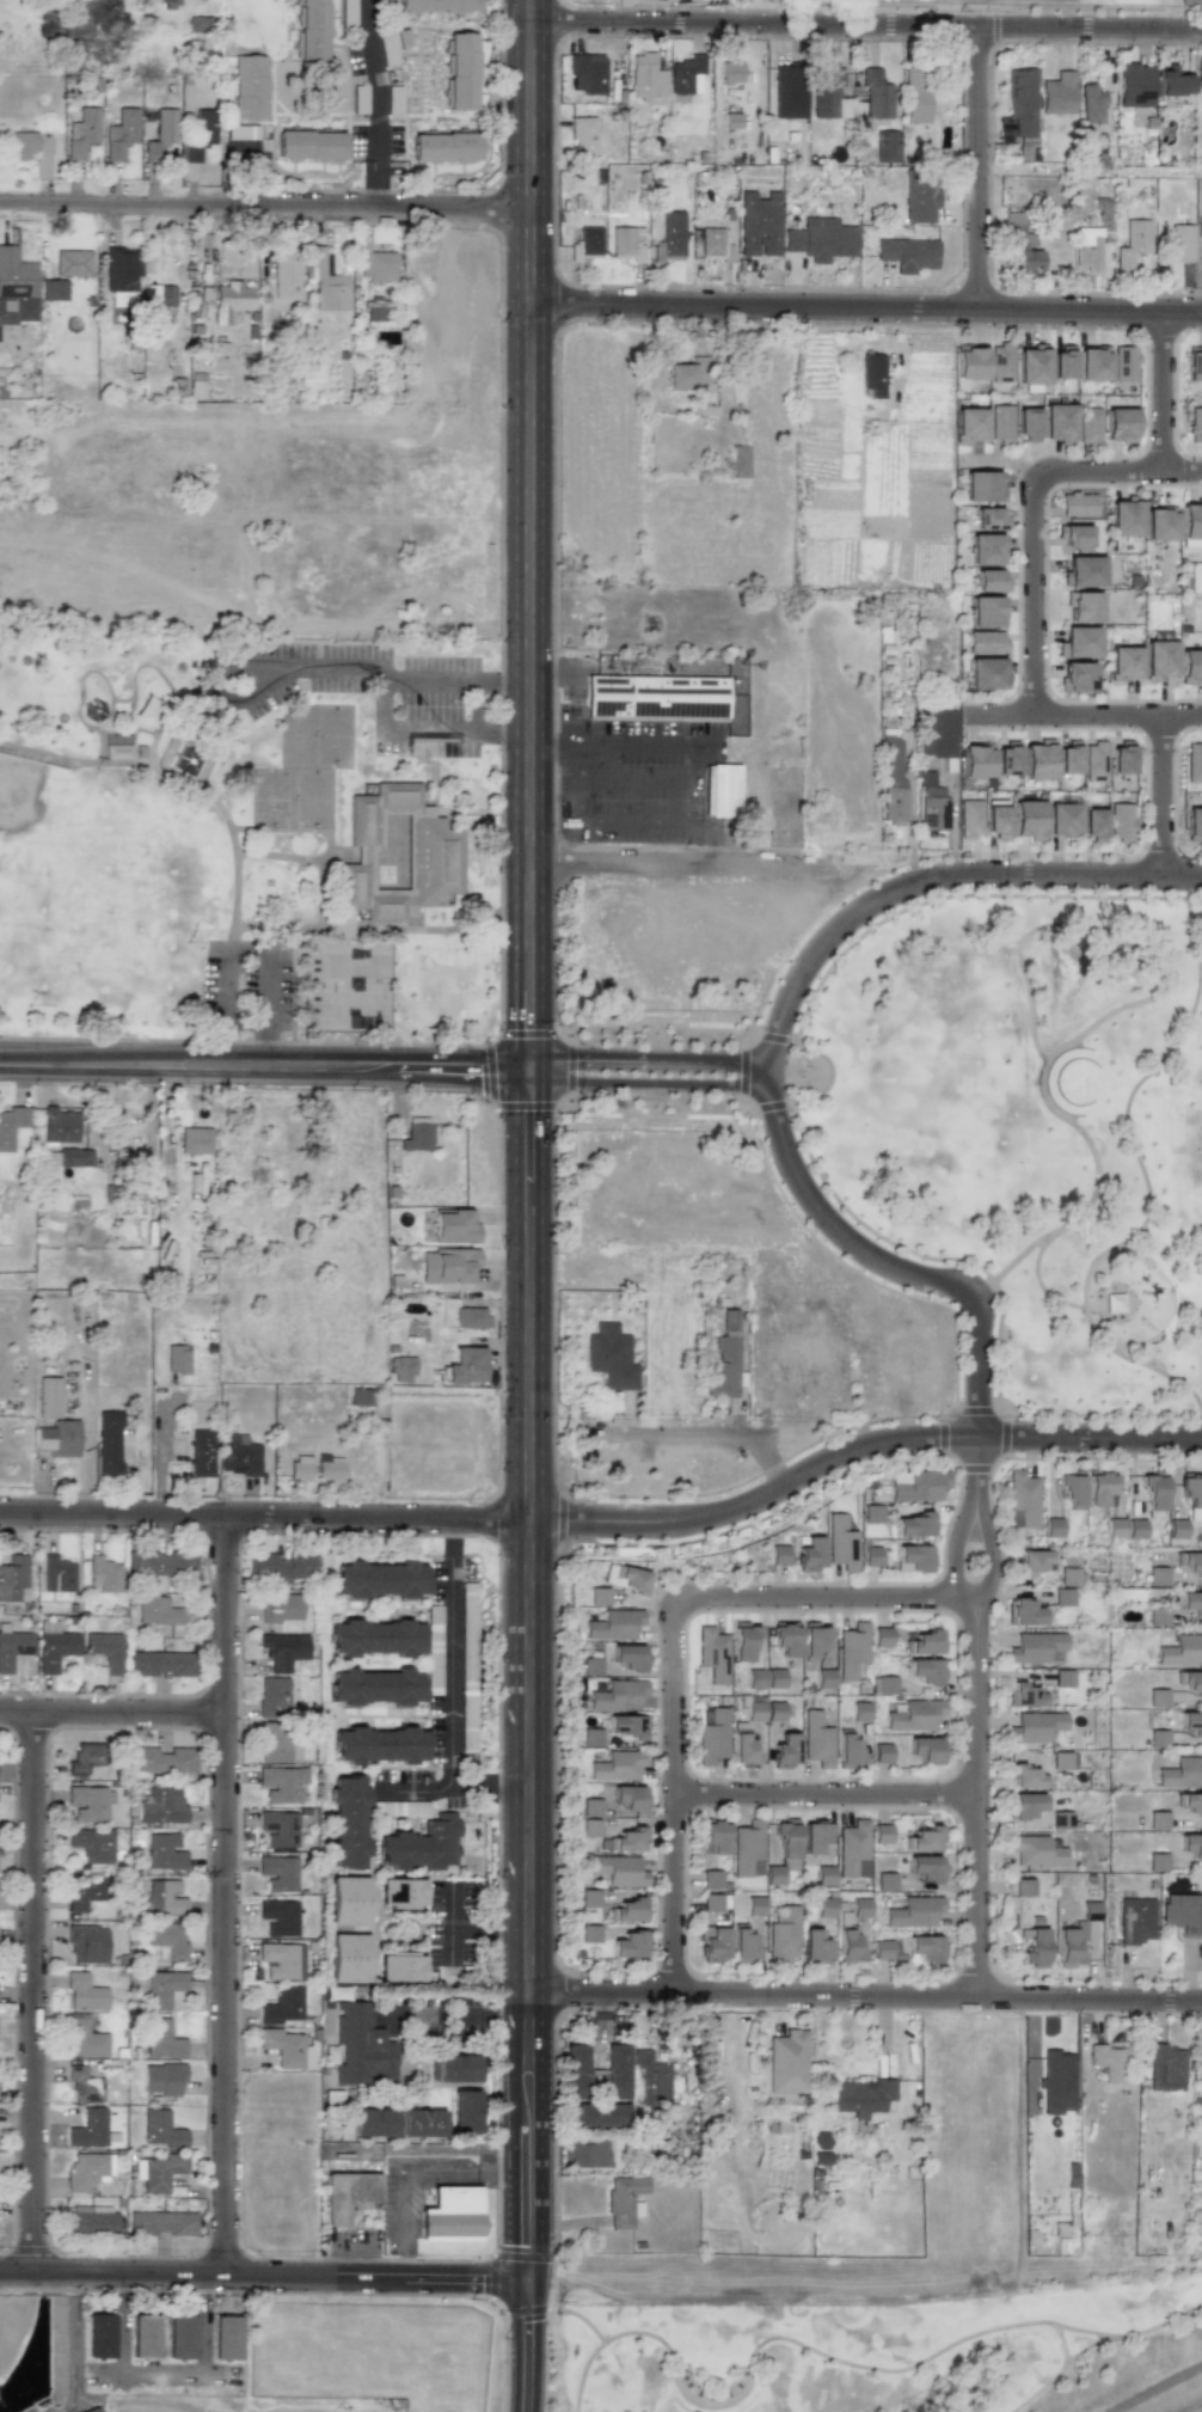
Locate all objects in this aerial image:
building: (166, 2)
building: (1190, 2)
building: (436, 5)
road: (863, 26)
building: (312, 31)
building: (460, 71)
building: (730, 72)
building: (1198, 72)
building: (585, 73)
building: (686, 75)
building: (646, 78)
building: (1134, 85)
building: (1173, 86)
building: (250, 87)
building: (787, 92)
building: (1057, 93)
building: (829, 94)
building: (876, 94)
building: (915, 96)
road: (372, 103)
building: (1091, 104)
building: (1022, 110)
building: (81, 131)
building: (121, 133)
building: (241, 133)
building: (200, 134)
building: (161, 135)
building: (582, 135)
building: (23, 145)
building: (309, 145)
building: (885, 146)
building: (444, 147)
road: (977, 170)
road: (1090, 172)
building: (919, 197)
road: (262, 204)
building: (1104, 213)
building: (758, 224)
building: (1012, 225)
building: (1200, 227)
building: (671, 233)
building: (791, 239)
building: (827, 239)
building: (1180, 241)
building: (627, 243)
building: (1133, 243)
building: (585, 244)
building: (715, 245)
building: (1087, 247)
building: (907, 253)
building: (1029, 262)
building: (72, 263)
building: (376, 265)
building: (121, 270)
building: (286, 273)
building: (325, 282)
building: (17, 287)
building: (54, 289)
building: (162, 298)
building: (229, 300)
road: (863, 308)
building: (376, 313)
building: (968, 362)
building: (999, 362)
building: (1061, 362)
building: (1092, 363)
building: (1123, 363)
building: (1030, 365)
building: (1194, 365)
building: (688, 374)
building: (872, 375)
road: (1159, 391)
building: (1057, 422)
building: (999, 423)
building: (1026, 423)
building: (968, 424)
building: (1087, 424)
building: (1118, 424)
building: (1195, 424)
road: (525, 433)
building: (738, 461)
road: (1180, 471)
building: (981, 486)
building: (1078, 504)
building: (988, 518)
building: (1123, 518)
building: (1158, 524)
building: (1190, 524)
road: (1034, 532)
building: (1074, 535)
building: (985, 549)
building: (1083, 571)
building: (988, 580)
building: (1083, 606)
building: (985, 611)
building: (985, 642)
building: (1079, 642)
building: (1158, 660)
road: (277, 662)
building: (1123, 663)
building: (1190, 666)
building: (985, 673)
building: (1077, 677)
road: (268, 680)
road: (505, 681)
building: (655, 698)
road: (380, 712)
parking lot: (425, 712)
road: (1001, 715)
road: (1117, 716)
building: (937, 733)
road: (505, 734)
road: (540, 742)
road: (636, 742)
building: (117, 752)
road: (578, 755)
building: (1067, 758)
building: (1120, 758)
building: (1005, 759)
building: (975, 760)
building: (1037, 760)
building: (1093, 760)
building: (1194, 763)
road: (698, 767)
road: (626, 770)
building: (891, 780)
building: (720, 790)
road: (673, 795)
road: (1160, 796)
building: (931, 802)
road: (600, 819)
building: (969, 819)
building: (1026, 819)
building: (1061, 819)
building: (995, 821)
building: (1118, 821)
building: (1092, 824)
building: (1192, 824)
building: (413, 839)
park: (256, 850)
road: (670, 868)
road: (1086, 874)
building: (352, 879)
building: (385, 892)
road: (525, 968)
road: (225, 990)
road: (269, 990)
parking lot: (245, 992)
road: (221, 1045)
road: (268, 1046)
road: (262, 1065)
road: (649, 1072)
building: (11, 1125)
building: (59, 1125)
building: (416, 1134)
building: (195, 1140)
building: (73, 1157)
building: (453, 1226)
road: (523, 1248)
building: (447, 1266)
building: (1147, 1287)
building: (1114, 1303)
building: (471, 1318)
road: (980, 1322)
building: (611, 1357)
building: (177, 1359)
building: (465, 1365)
building: (722, 1369)
building: (403, 1370)
building: (49, 1397)
road: (711, 1430)
building: (59, 1438)
building: (108, 1444)
building: (201, 1453)
building: (238, 1456)
road: (159, 1464)
building: (299, 1468)
building: (329, 1468)
building: (915, 1486)
building: (1099, 1488)
building: (1071, 1490)
building: (1191, 1495)
building: (1022, 1500)
building: (871, 1513)
road: (609, 1522)
building: (914, 1525)
building: (1053, 1528)
building: (1115, 1528)
building: (1135, 1529)
road: (449, 1537)
building: (840, 1543)
building: (778, 1555)
building: (809, 1555)
building: (870, 1556)
building: (915, 1557)
building: (1034, 1561)
building: (160, 1563)
building: (1191, 1563)
building: (283, 1567)
building: (103, 1574)
building: (57, 1575)
building: (1158, 1575)
building: (1069, 1577)
building: (13, 1579)
building: (631, 1579)
building: (379, 1580)
building: (597, 1596)
building: (1062, 1598)
building: (1191, 1604)
building: (281, 1608)
building: (157, 1611)
building: (1024, 1612)
building: (1157, 1616)
building: (612, 1626)
building: (879, 1637)
building: (375, 1639)
building: (784, 1639)
building: (811, 1640)
building: (741, 1641)
building: (924, 1641)
road: (673, 1646)
building: (12, 1647)
building: (283, 1648)
building: (1037, 1648)
building: (54, 1649)
building: (104, 1649)
building: (851, 1651)
building: (1180, 1652)
building: (711, 1654)
building: (627, 1657)
building: (158, 1664)
building: (589, 1666)
building: (924, 1670)
road: (449, 1672)
building: (763, 1678)
building: (823, 1678)
building: (1062, 1678)
building: (1191, 1682)
building: (885, 1685)
building: (376, 1688)
building: (614, 1695)
building: (1026, 1695)
building: (272, 1696)
building: (1157, 1697)
road: (112, 1712)
building: (754, 1712)
building: (773, 1712)
building: (913, 1715)
building: (1191, 1724)
building: (627, 1726)
building: (1035, 1726)
building: (590, 1737)
building: (711, 1738)
building: (816, 1739)
building: (1157, 1739)
building: (380, 1745)
building: (741, 1745)
building: (847, 1747)
building: (925, 1749)
building: (280, 1750)
building: (783, 1750)
building: (882, 1753)
building: (161, 1761)
building: (85, 1762)
building: (617, 1767)
building: (1180, 1773)
building: (1026, 1776)
building: (281, 1783)
road: (415, 1789)
road: (486, 1789)
road: (824, 1793)
building: (628, 1798)
building: (90, 1802)
building: (1190, 1802)
building: (1025, 1805)
building: (160, 1807)
building: (590, 1807)
building: (1157, 1820)
building: (348, 1822)
building: (589, 1828)
building: (278, 1829)
building: (882, 1834)
building: (715, 1835)
building: (922, 1838)
building: (626, 1841)
building: (814, 1843)
building: (92, 1844)
building: (423, 1844)
building: (1191, 1845)
building: (746, 1847)
building: (852, 1849)
building: (1036, 1849)
building: (164, 1851)
road: (525, 1851)
building: (783, 1851)
building: (1157, 1862)
building: (926, 1867)
building: (614, 1869)
building: (278, 1873)
building: (824, 1875)
building: (711, 1879)
building: (887, 1881)
building: (1024, 1887)
road: (225, 1893)
building: (401, 1893)
building: (85, 1894)
building: (162, 1897)
building: (349, 1900)
building: (711, 1903)
building: (754, 1905)
building: (823, 1906)
building: (859, 1908)
building: (627, 1910)
building: (1090, 1911)
building: (914, 1912)
building: (1183, 1914)
building: (278, 1917)
building: (1136, 1921)
road: (465, 1932)
building: (589, 1933)
building: (781, 1935)
building: (166, 1941)
building: (742, 1943)
building: (86, 1945)
building: (628, 1945)
building: (713, 1945)
building: (847, 1945)
building: (814, 1947)
building: (926, 1947)
building: (1034, 1947)
building: (887, 1948)
building: (1068, 1948)
road: (449, 1951)
building: (348, 1958)
building: (280, 1961)
building: (400, 1967)
building: (161, 1989)
road: (32, 1990)
building: (84, 1994)
road: (863, 1995)
building: (281, 2006)
road: (454, 2015)
building: (85, 2040)
building: (161, 2040)
building: (282, 2046)
building: (361, 2046)
building: (786, 2062)
building: (1108, 2062)
building: (455, 2068)
building: (1166, 2068)
building: (1200, 2068)
building: (574, 2069)
building: (614, 2071)
building: (162, 2079)
building: (1057, 2082)
building: (656, 2083)
building: (84, 2085)
building: (861, 2096)
building: (464, 2112)
building: (599, 2116)
building: (372, 2122)
building: (421, 2123)
building: (88, 2129)
building: (160, 2130)
building: (585, 2154)
building: (85, 2169)
road: (499, 2171)
building: (158, 2172)
road: (401, 2174)
building: (347, 2194)
building: (450, 2215)
building: (90, 2220)
building: (161, 2223)
road: (398, 2263)
road: (260, 2272)
building: (98, 2336)
building: (145, 2336)
building: (180, 2337)
building: (225, 2337)
road: (521, 2344)
road: (1155, 2388)
building: (91, 2410)
road: (1198, 2410)

